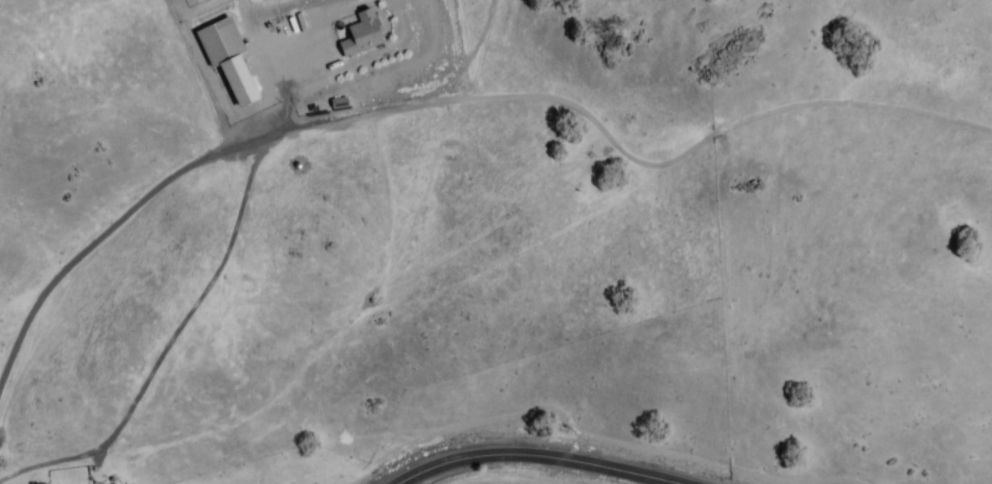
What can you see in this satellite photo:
building: (361, 34)
building: (227, 57)
road: (108, 230)
road: (530, 454)

